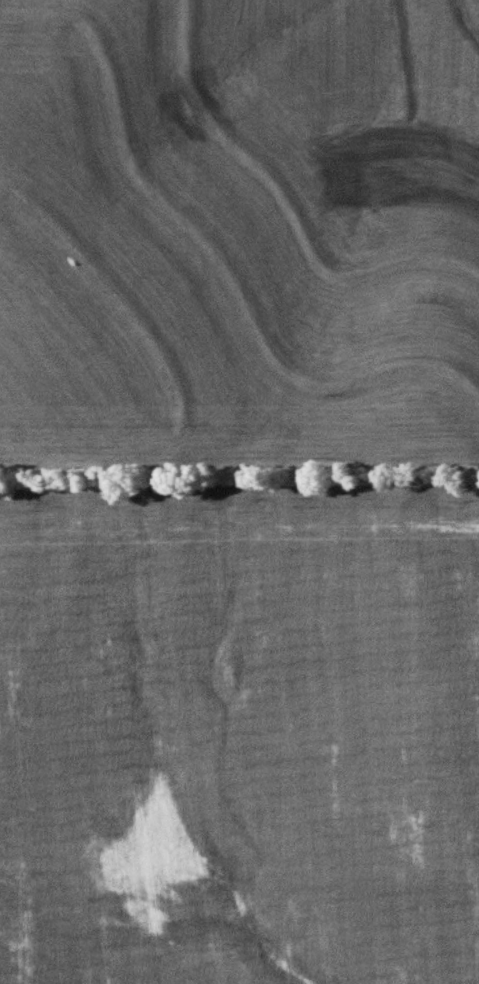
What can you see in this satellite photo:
crop: (239, 722)

